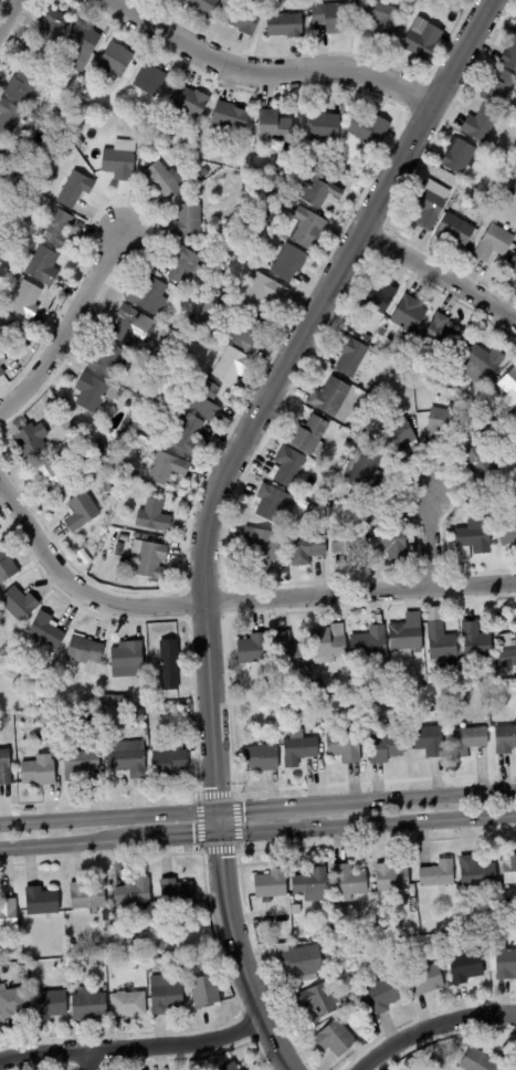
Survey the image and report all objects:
building: (204, 6)
road: (7, 12)
building: (331, 18)
building: (241, 19)
building: (383, 20)
building: (286, 25)
building: (52, 27)
building: (515, 28)
building: (423, 43)
building: (82, 45)
building: (24, 56)
building: (510, 56)
building: (115, 62)
road: (265, 73)
building: (52, 76)
building: (152, 82)
building: (22, 86)
building: (501, 88)
building: (189, 103)
building: (66, 105)
building: (230, 118)
building: (10, 119)
building: (482, 124)
building: (275, 127)
building: (324, 127)
building: (369, 129)
building: (1, 147)
building: (486, 153)
building: (460, 157)
building: (120, 164)
building: (32, 166)
building: (318, 166)
building: (199, 177)
building: (164, 180)
building: (280, 181)
building: (74, 189)
building: (323, 191)
building: (267, 203)
building: (457, 203)
building: (430, 208)
building: (190, 221)
building: (227, 229)
building: (306, 229)
building: (59, 230)
building: (456, 230)
building: (495, 243)
building: (2, 246)
building: (281, 248)
building: (289, 263)
building: (186, 265)
building: (41, 266)
building: (513, 266)
road: (439, 274)
building: (515, 280)
building: (263, 291)
building: (149, 296)
building: (186, 297)
building: (377, 298)
building: (25, 300)
building: (212, 312)
building: (409, 314)
building: (28, 324)
building: (129, 325)
road: (65, 326)
building: (249, 332)
building: (382, 332)
building: (18, 334)
building: (442, 335)
building: (10, 338)
building: (157, 347)
building: (352, 357)
building: (108, 360)
building: (482, 361)
building: (2, 365)
building: (231, 366)
building: (170, 368)
building: (162, 388)
building: (509, 389)
building: (92, 394)
road: (265, 395)
building: (330, 397)
building: (206, 400)
building: (493, 416)
building: (141, 418)
building: (441, 426)
building: (498, 429)
building: (189, 436)
building: (309, 437)
building: (401, 438)
building: (31, 440)
building: (101, 449)
building: (485, 461)
building: (288, 466)
building: (167, 470)
building: (366, 470)
building: (52, 476)
building: (107, 487)
building: (485, 491)
building: (272, 504)
building: (81, 513)
building: (155, 517)
building: (507, 533)
building: (124, 538)
road: (428, 541)
building: (473, 541)
building: (390, 544)
building: (351, 546)
building: (262, 547)
building: (306, 550)
building: (149, 559)
building: (125, 566)
building: (7, 568)
road: (229, 600)
building: (19, 606)
building: (48, 632)
building: (407, 634)
building: (476, 641)
building: (442, 643)
building: (329, 644)
building: (371, 646)
building: (253, 650)
building: (508, 652)
building: (286, 653)
building: (86, 654)
building: (127, 661)
building: (170, 667)
building: (24, 673)
building: (438, 673)
building: (31, 691)
building: (117, 702)
building: (137, 716)
building: (273, 723)
building: (38, 739)
building: (505, 741)
building: (470, 742)
building: (430, 743)
building: (347, 746)
building: (299, 749)
building: (386, 751)
building: (262, 759)
building: (129, 760)
building: (170, 764)
building: (81, 765)
building: (6, 769)
building: (39, 774)
road: (257, 806)
traffic signals: (217, 809)
road: (367, 825)
traffic signals: (219, 835)
road: (172, 838)
road: (63, 845)
building: (509, 869)
building: (477, 872)
building: (436, 874)
building: (392, 878)
building: (349, 881)
building: (271, 884)
building: (312, 885)
building: (176, 892)
building: (135, 893)
building: (88, 896)
building: (41, 901)
building: (509, 908)
building: (296, 910)
building: (9, 914)
building: (118, 922)
building: (108, 925)
building: (343, 932)
building: (108, 933)
road: (236, 956)
building: (164, 957)
building: (302, 961)
building: (505, 962)
building: (466, 966)
building: (148, 969)
building: (189, 972)
building: (178, 978)
building: (427, 979)
building: (207, 990)
building: (382, 993)
building: (166, 994)
building: (356, 999)
building: (320, 1001)
building: (12, 1003)
building: (50, 1005)
building: (89, 1005)
building: (128, 1005)
road: (431, 1026)
building: (336, 1038)
road: (133, 1048)
road: (86, 1060)
building: (484, 1061)
building: (407, 1063)
building: (436, 1063)
building: (231, 1067)

